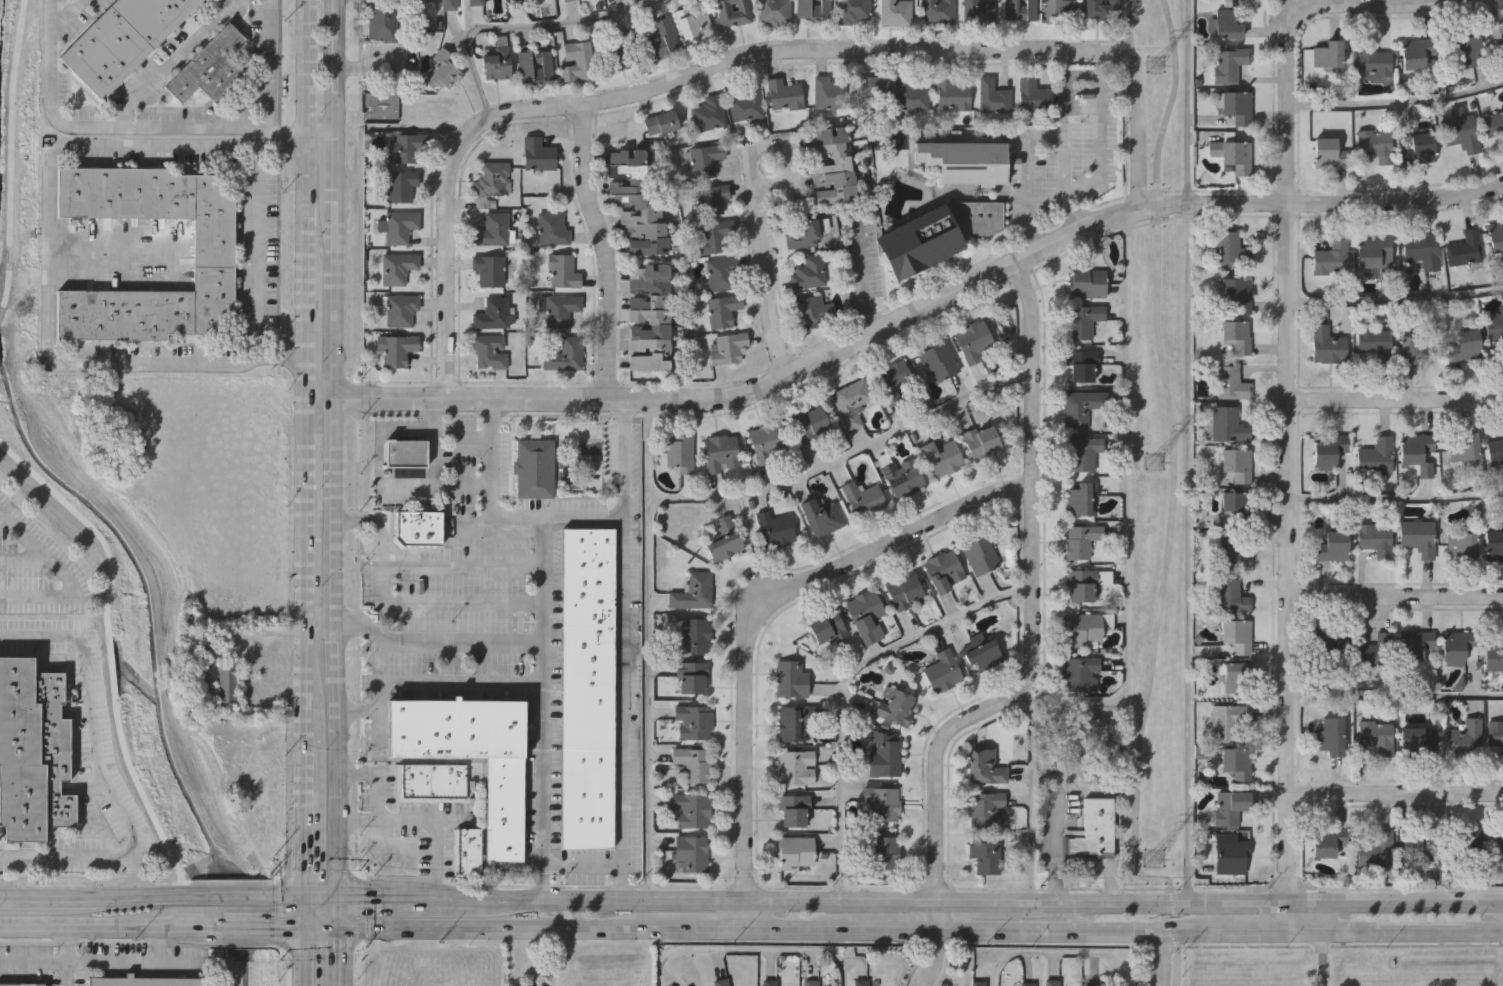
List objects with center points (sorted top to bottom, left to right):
building: (567, 0)
building: (475, 2)
building: (449, 4)
building: (812, 8)
building: (1059, 9)
building: (1102, 9)
building: (1018, 10)
building: (773, 11)
building: (851, 11)
building: (938, 11)
building: (733, 12)
building: (895, 12)
building: (979, 12)
road: (64, 15)
building: (383, 19)
building: (1226, 23)
building: (691, 26)
road: (520, 28)
road: (1131, 31)
road: (1285, 32)
building: (1498, 38)
building: (123, 39)
building: (660, 40)
building: (1466, 49)
building: (1417, 50)
building: (619, 51)
building: (1328, 53)
building: (497, 58)
building: (1372, 59)
building: (577, 60)
road: (732, 60)
building: (1228, 62)
road: (170, 63)
building: (524, 64)
power tower: (1157, 64)
building: (211, 66)
building: (443, 69)
building: (872, 84)
building: (829, 92)
building: (910, 93)
building: (953, 93)
building: (784, 94)
building: (1033, 94)
building: (993, 95)
building: (746, 102)
building: (1238, 104)
road: (1395, 104)
building: (708, 112)
building: (661, 121)
building: (1493, 122)
road: (162, 126)
road: (268, 131)
building: (1461, 133)
road: (1034, 136)
road: (316, 137)
building: (1375, 143)
building: (1420, 147)
building: (404, 149)
building: (1330, 152)
building: (537, 155)
building: (1236, 156)
building: (704, 158)
building: (965, 160)
building: (832, 163)
building: (490, 178)
building: (400, 186)
building: (711, 200)
building: (637, 203)
road: (758, 216)
building: (398, 226)
building: (552, 229)
building: (493, 230)
building: (803, 234)
building: (714, 235)
building: (1495, 236)
building: (935, 237)
building: (1229, 247)
building: (1465, 247)
road: (601, 250)
building: (1421, 250)
road: (258, 251)
building: (1374, 251)
building: (214, 252)
road: (46, 255)
road: (109, 256)
building: (1330, 258)
building: (397, 267)
building: (489, 270)
building: (563, 270)
building: (808, 273)
building: (721, 275)
building: (1085, 283)
building: (1236, 293)
road: (1394, 302)
building: (400, 308)
building: (560, 308)
road: (328, 309)
building: (811, 311)
building: (722, 312)
building: (493, 313)
road: (907, 314)
road: (303, 320)
building: (648, 320)
building: (1082, 321)
building: (1494, 327)
building: (1236, 334)
building: (973, 339)
building: (1372, 342)
building: (1325, 345)
building: (1412, 345)
building: (396, 348)
building: (727, 348)
building: (1465, 348)
building: (488, 352)
building: (564, 356)
building: (938, 357)
building: (1080, 365)
building: (893, 380)
building: (1229, 381)
road: (1395, 398)
building: (851, 401)
building: (1081, 406)
building: (811, 422)
building: (1225, 424)
building: (1502, 431)
road: (442, 432)
building: (980, 441)
building: (766, 442)
building: (1329, 448)
building: (1465, 449)
road: (1188, 450)
building: (1495, 450)
building: (1417, 452)
building: (405, 453)
building: (677, 453)
building: (721, 453)
building: (1081, 454)
building: (1376, 456)
building: (942, 457)
road: (844, 458)
power tower: (1157, 463)
building: (1235, 465)
building: (534, 468)
building: (903, 478)
road: (487, 484)
road: (433, 485)
building: (865, 497)
road: (1394, 499)
building: (1081, 500)
building: (1232, 501)
road: (1126, 506)
road: (1172, 507)
building: (819, 515)
building: (418, 526)
building: (774, 528)
building: (1417, 536)
building: (723, 539)
building: (1373, 539)
building: (1079, 541)
building: (1493, 544)
building: (1462, 545)
building: (1331, 546)
building: (1229, 551)
building: (977, 554)
road: (421, 565)
road: (1286, 566)
building: (940, 570)
road: (64, 576)
building: (1080, 585)
building: (904, 590)
building: (691, 591)
building: (1229, 594)
road: (1394, 594)
road: (541, 607)
road: (765, 609)
building: (866, 614)
road: (317, 617)
building: (825, 627)
building: (1085, 628)
road: (316, 630)
building: (1235, 635)
building: (692, 636)
road: (432, 642)
building: (1329, 643)
building: (1416, 643)
building: (1459, 646)
road: (648, 647)
road: (1031, 647)
building: (1376, 650)
road: (303, 651)
building: (982, 651)
building: (206, 654)
building: (1494, 656)
building: (942, 670)
building: (1078, 672)
building: (690, 674)
building: (1233, 675)
road: (302, 677)
building: (789, 679)
road: (428, 681)
building: (225, 684)
road: (846, 687)
building: (585, 689)
road: (329, 690)
road: (1394, 695)
road: (302, 700)
building: (894, 705)
road: (621, 707)
road: (353, 710)
building: (691, 720)
building: (1225, 720)
building: (793, 721)
road: (92, 730)
building: (1496, 731)
building: (1330, 734)
building: (1377, 734)
building: (1465, 738)
building: (1416, 741)
building: (32, 751)
building: (471, 753)
building: (883, 755)
building: (1234, 763)
building: (691, 764)
building: (985, 765)
building: (794, 767)
building: (429, 782)
road: (1394, 792)
road: (1033, 794)
road: (301, 802)
building: (880, 802)
building: (1228, 805)
building: (983, 808)
building: (690, 809)
building: (792, 809)
road: (354, 817)
road: (397, 817)
road: (329, 827)
building: (1092, 829)
building: (1325, 840)
building: (1414, 840)
building: (1467, 846)
building: (1499, 846)
building: (883, 848)
building: (1374, 849)
building: (466, 852)
building: (689, 852)
building: (794, 852)
building: (985, 854)
road: (66, 855)
building: (1230, 856)
power tower: (1155, 858)
traffic signals: (330, 895)
road: (315, 896)
road: (536, 896)
road: (141, 897)
road: (234, 897)
road: (287, 897)
traffic signals: (300, 897)
road: (44, 898)
road: (887, 900)
road: (1046, 901)
road: (1275, 901)
road: (1497, 902)
road: (1497, 910)
road: (300, 912)
road: (742, 914)
road: (1073, 916)
road: (1325, 916)
traffic signals: (330, 926)
road: (315, 927)
road: (496, 927)
road: (101, 928)
road: (239, 928)
road: (287, 928)
traffic signals: (300, 928)
road: (702, 929)
road: (915, 930)
road: (1270, 932)
road: (1414, 932)
road: (1151, 934)
road: (329, 940)
road: (752, 949)
road: (1059, 952)
road: (67, 956)
road: (299, 957)
road: (1326, 959)
road: (1160, 960)
road: (33, 961)
road: (125, 961)
building: (147, 980)
building: (719, 982)
building: (768, 982)
building: (809, 982)
building: (1051, 982)
building: (860, 983)
building: (977, 983)
building: (1026, 984)
building: (1093, 984)
building: (18, 985)

